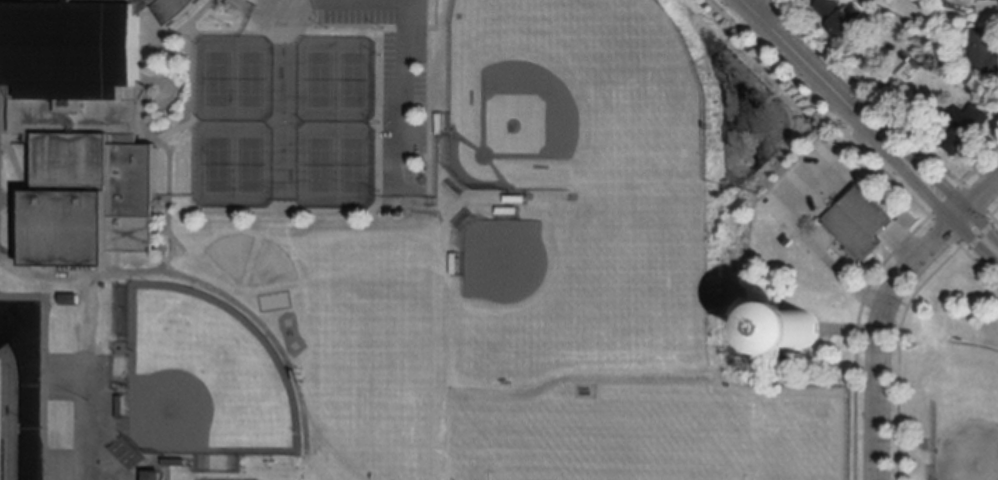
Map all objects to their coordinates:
building: (247, 0)
road: (337, 1)
road: (407, 1)
road: (761, 6)
road: (149, 15)
building: (843, 19)
road: (345, 25)
road: (191, 29)
road: (177, 32)
building: (985, 50)
building: (907, 56)
building: (918, 64)
park: (218, 79)
park: (251, 79)
road: (286, 80)
park: (320, 80)
park: (353, 80)
road: (157, 82)
building: (6, 89)
road: (142, 89)
building: (142, 90)
road: (5, 92)
road: (866, 92)
parking lot: (398, 95)
park: (574, 97)
pier: (768, 98)
road: (403, 101)
road: (286, 103)
road: (851, 108)
road: (193, 121)
road: (377, 122)
building: (441, 123)
building: (84, 127)
building: (967, 128)
road: (173, 131)
road: (13, 138)
road: (141, 140)
road: (159, 143)
road: (159, 146)
road: (285, 163)
park: (218, 164)
park: (250, 164)
park: (320, 165)
park: (352, 165)
road: (16, 168)
road: (839, 180)
road: (29, 188)
road: (979, 198)
road: (13, 199)
building: (515, 199)
road: (944, 200)
road: (974, 200)
road: (400, 201)
road: (923, 209)
road: (245, 210)
building: (508, 211)
road: (787, 218)
road: (994, 219)
building: (859, 223)
road: (981, 227)
road: (161, 231)
road: (944, 231)
road: (980, 236)
road: (975, 242)
road: (902, 243)
flagpole: (884, 246)
park: (232, 253)
road: (116, 262)
building: (455, 264)
park: (273, 266)
road: (94, 277)
park: (534, 293)
building: (70, 299)
building: (809, 324)
water tower: (809, 325)
road: (900, 326)
road: (268, 330)
road: (44, 334)
road: (880, 334)
park: (940, 370)
road: (85, 378)
park: (205, 378)
track: (25, 381)
park: (0, 403)
building: (121, 407)
park: (966, 412)
park: (4, 421)
street lamp: (43, 429)
park: (619, 444)
building: (175, 463)
building: (154, 475)

